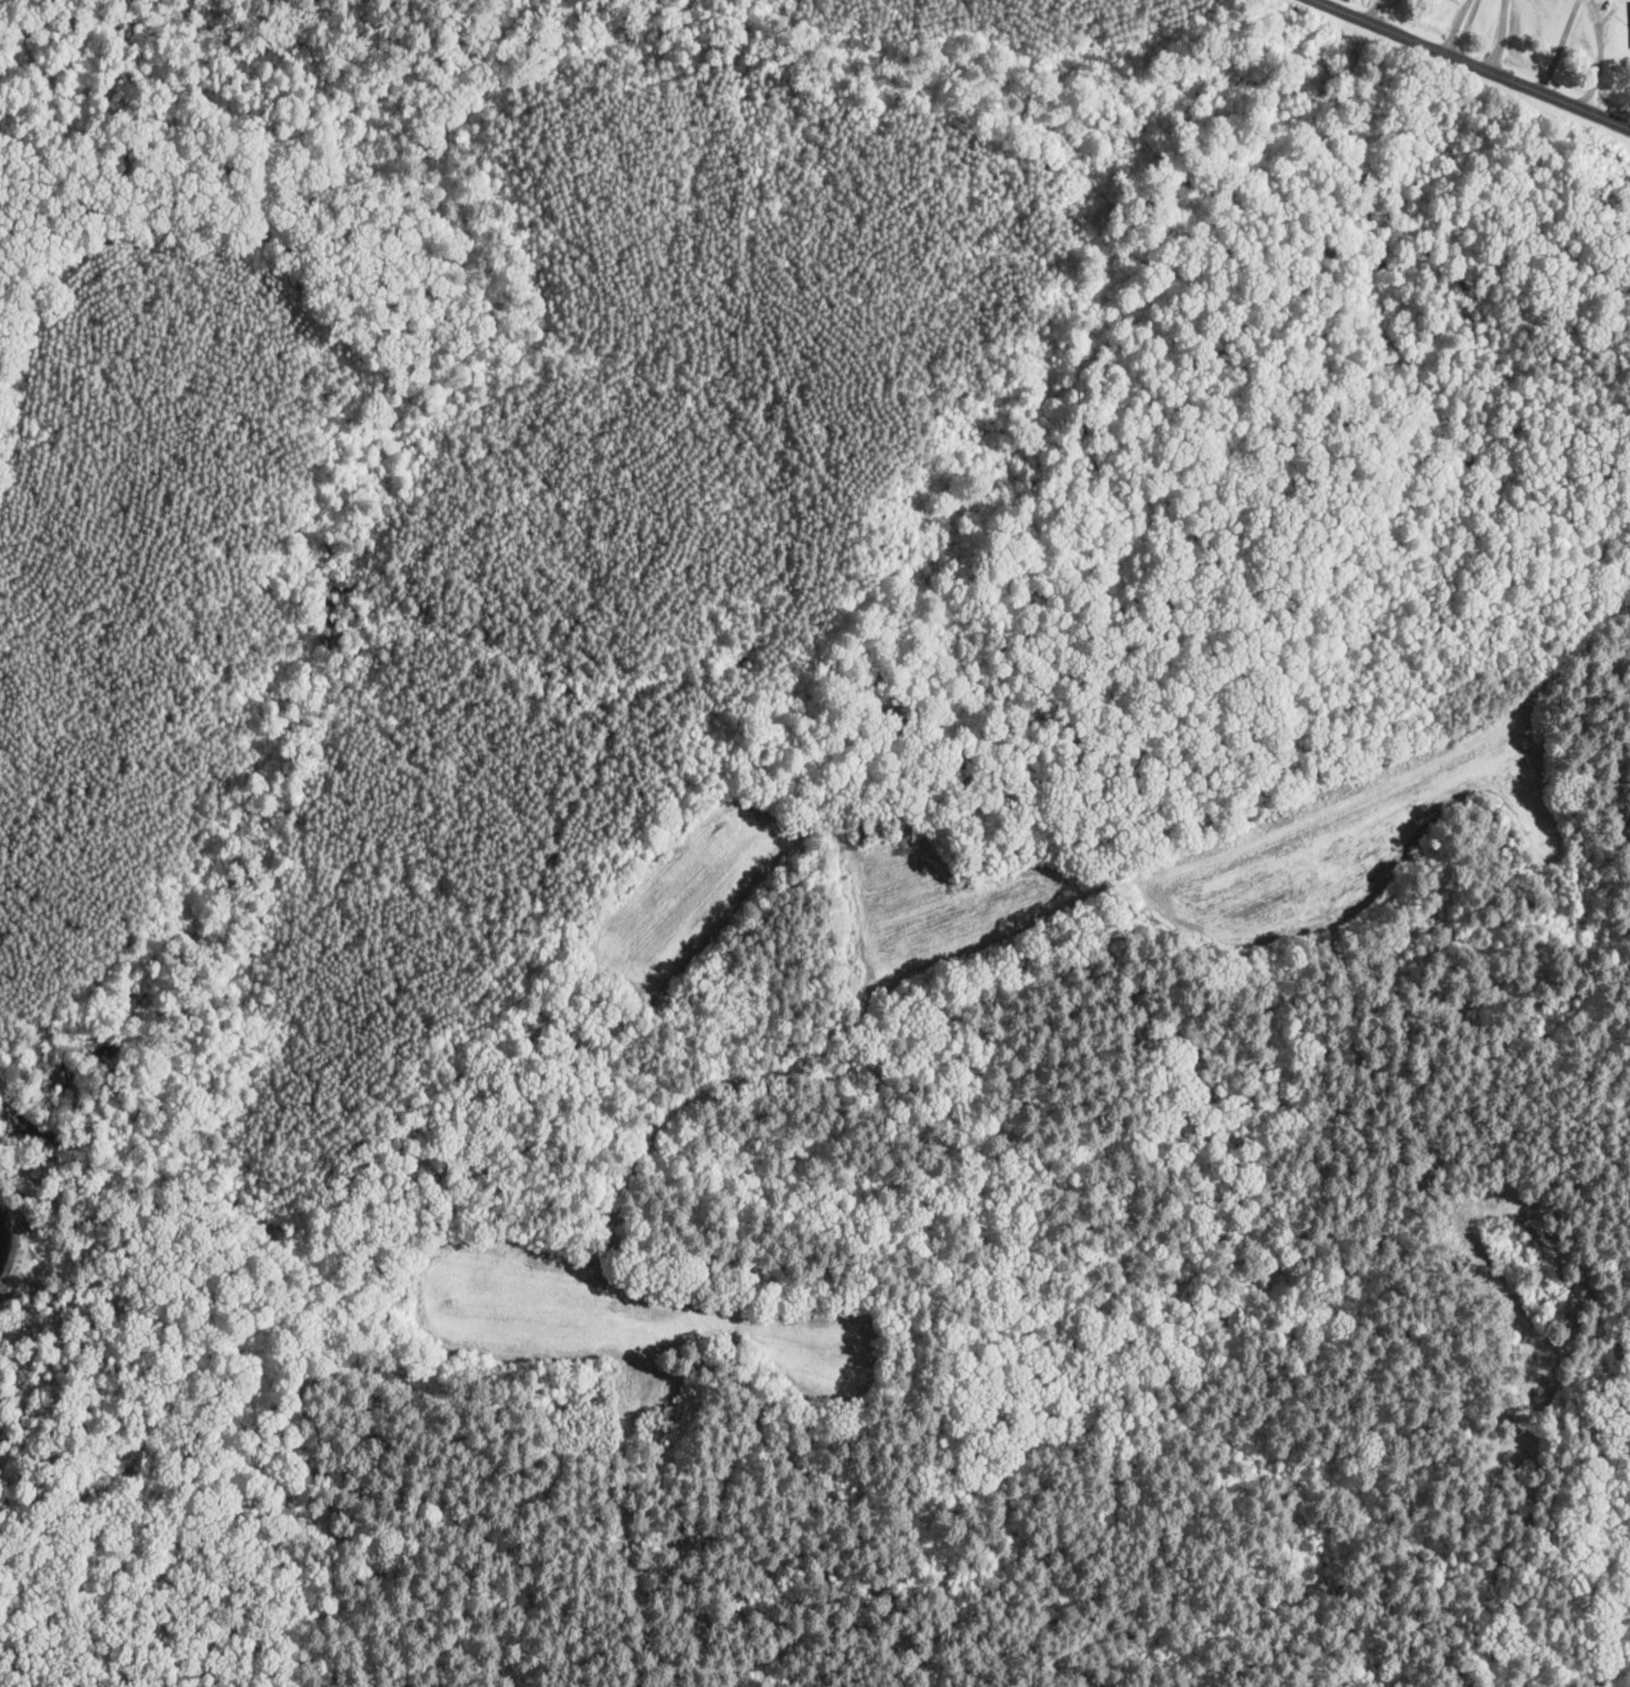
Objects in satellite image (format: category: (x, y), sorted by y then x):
building: (1465, 0)
road: (1558, 47)
road: (1471, 66)

